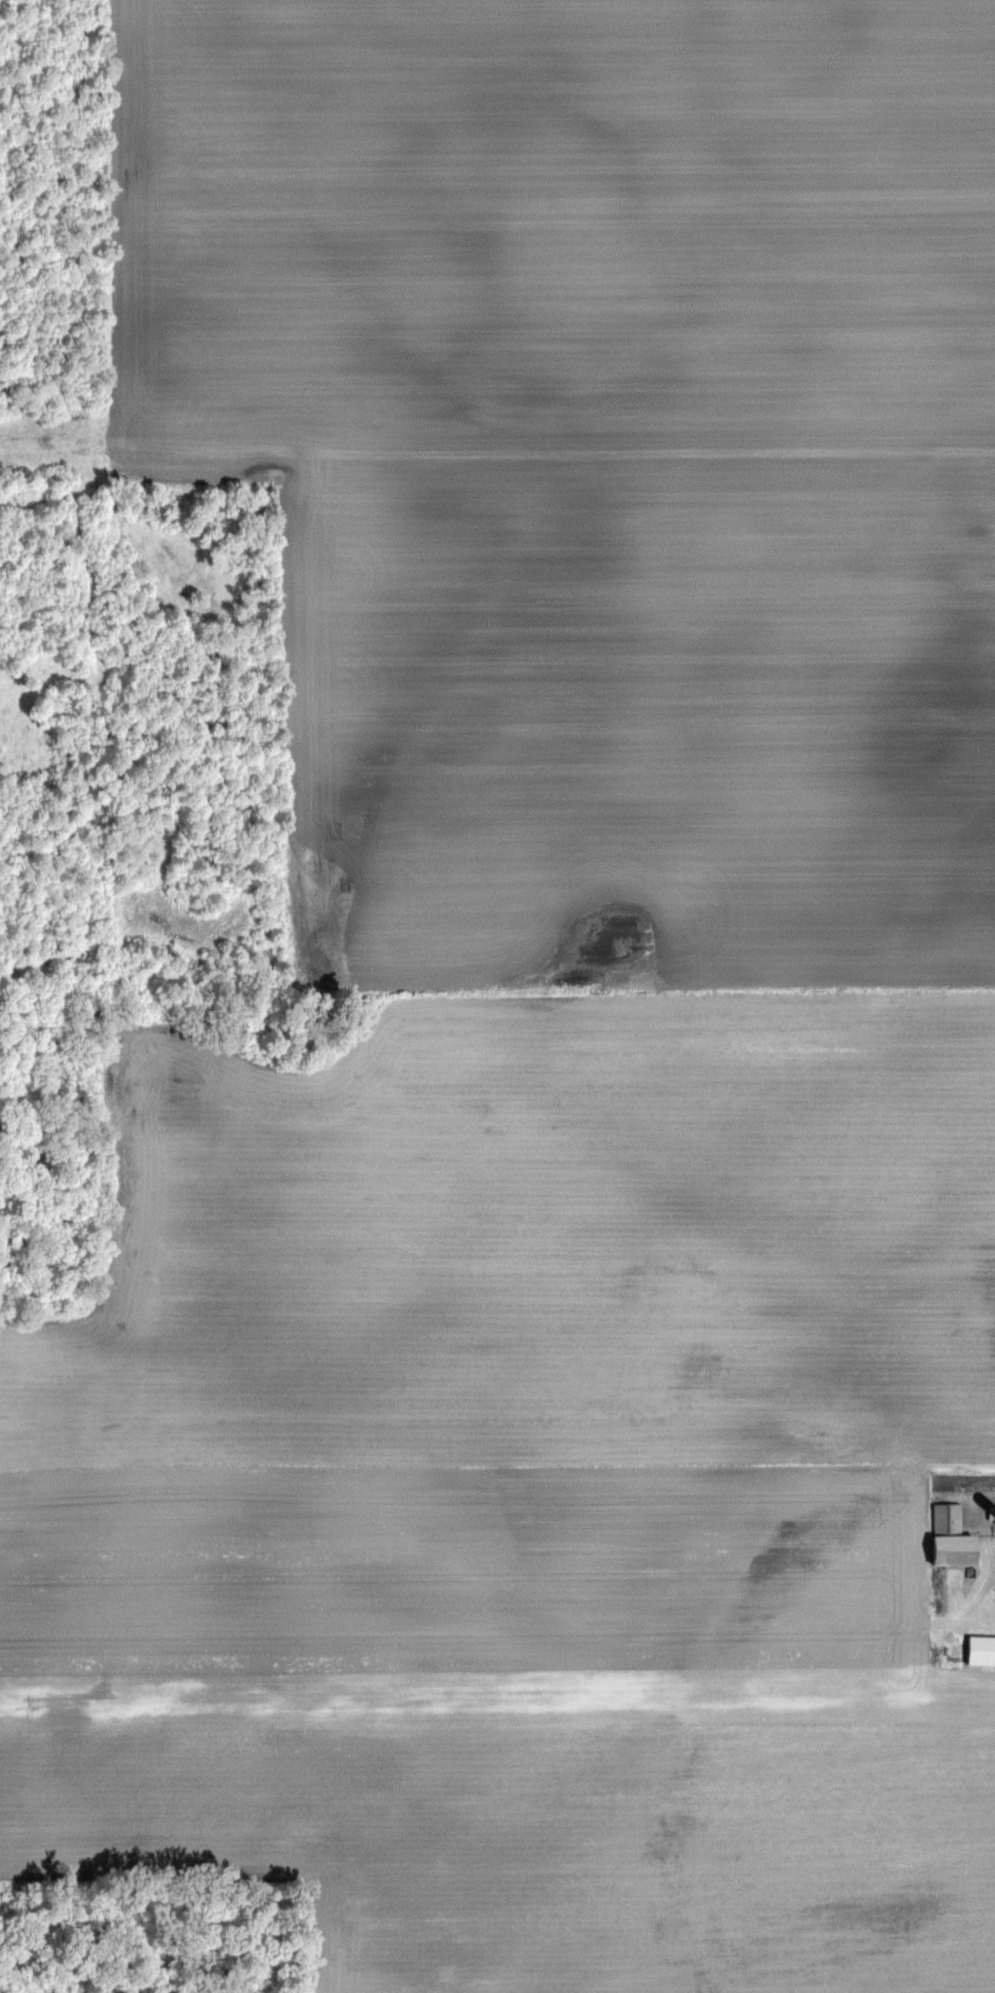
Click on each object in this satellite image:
building: (994, 1516)
building: (950, 1538)
building: (981, 1652)

